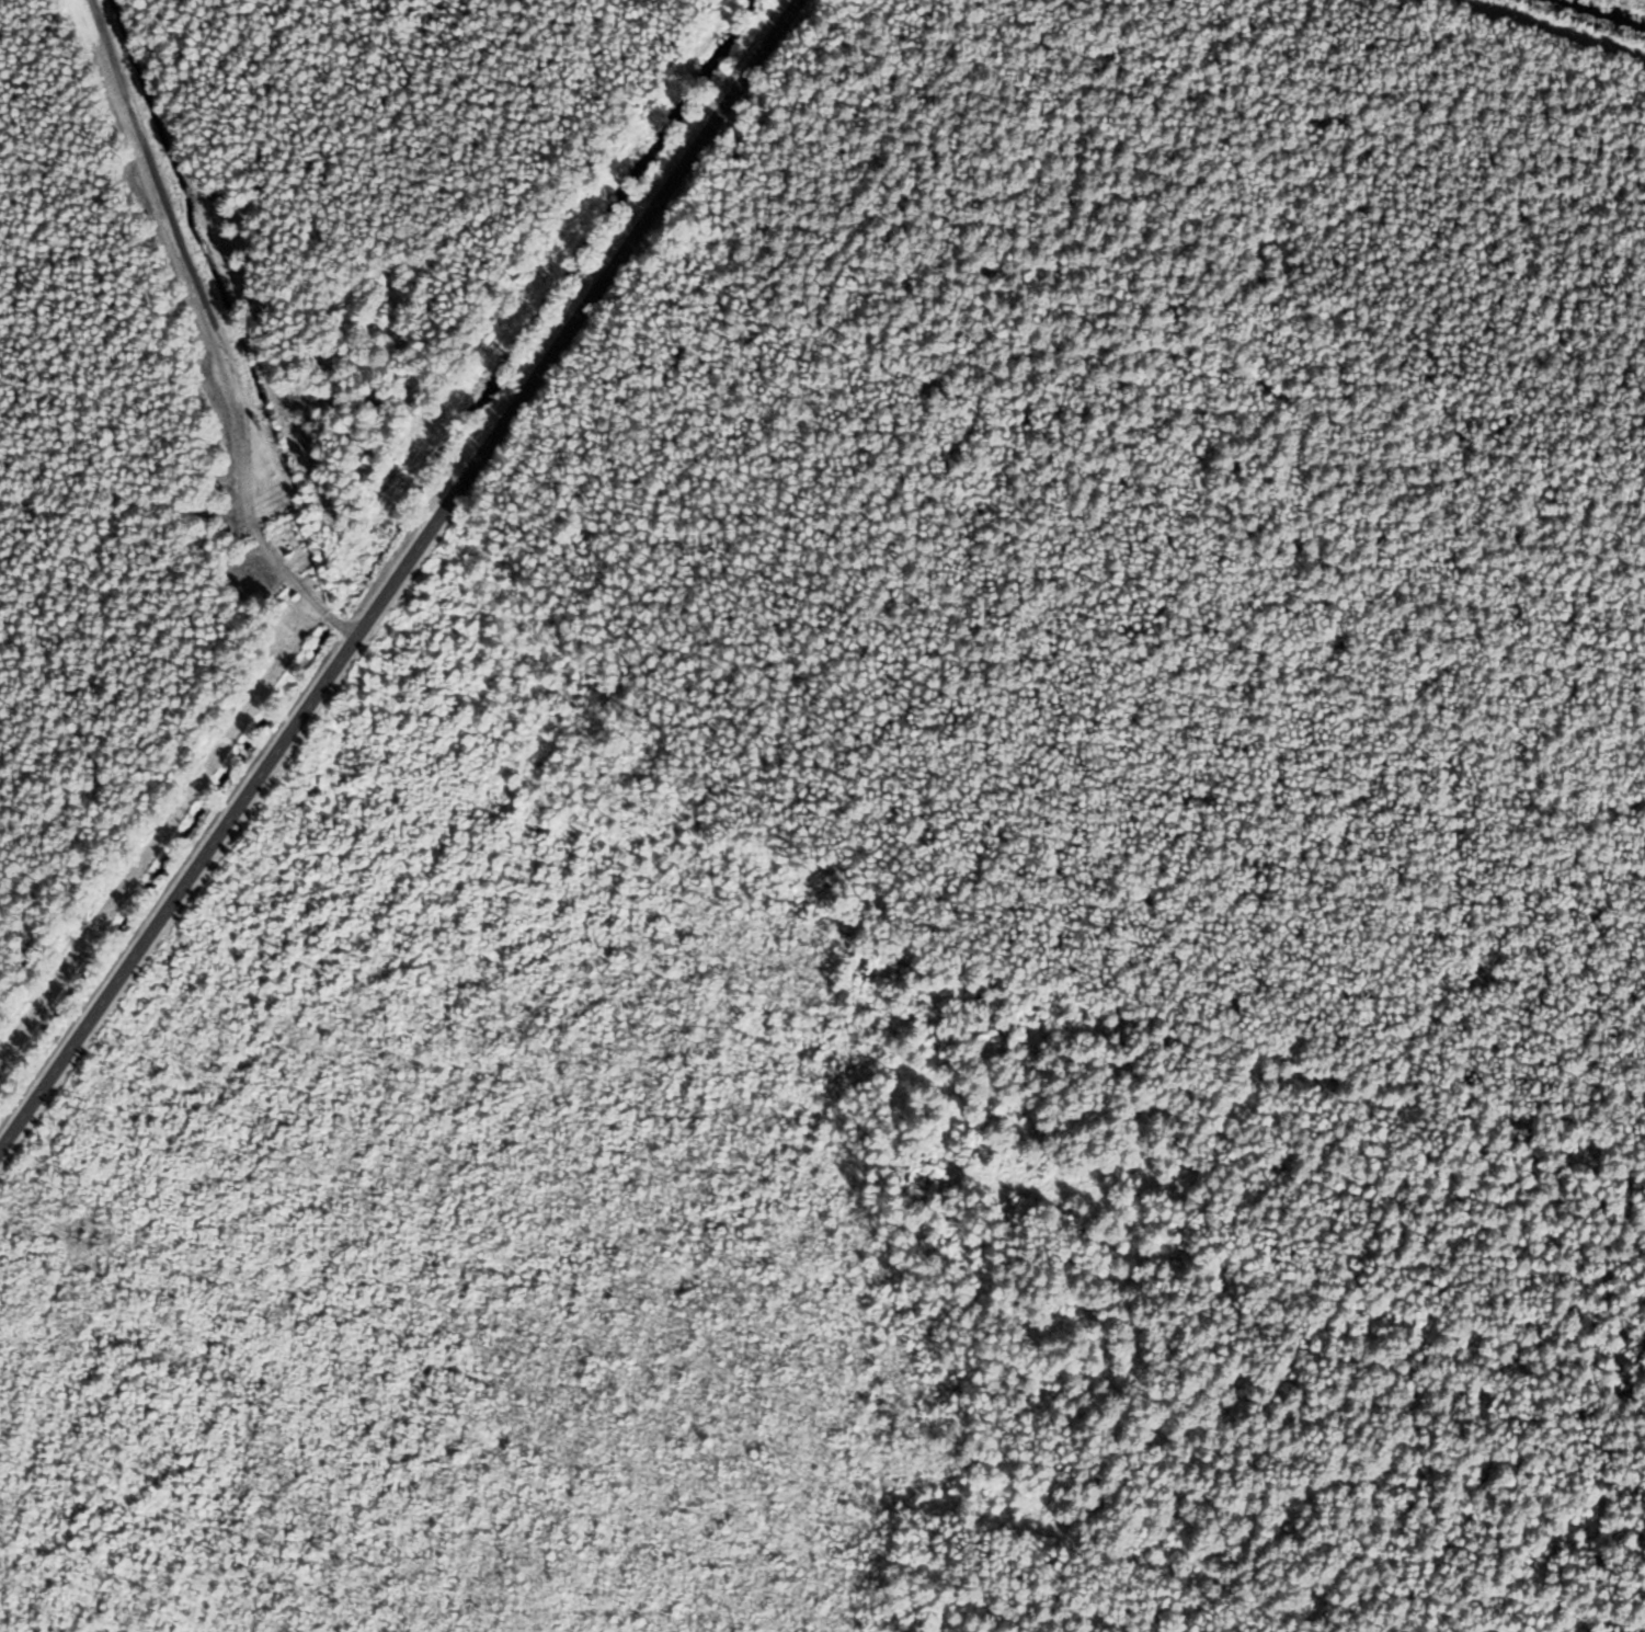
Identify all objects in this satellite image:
road: (207, 335)
road: (398, 573)

